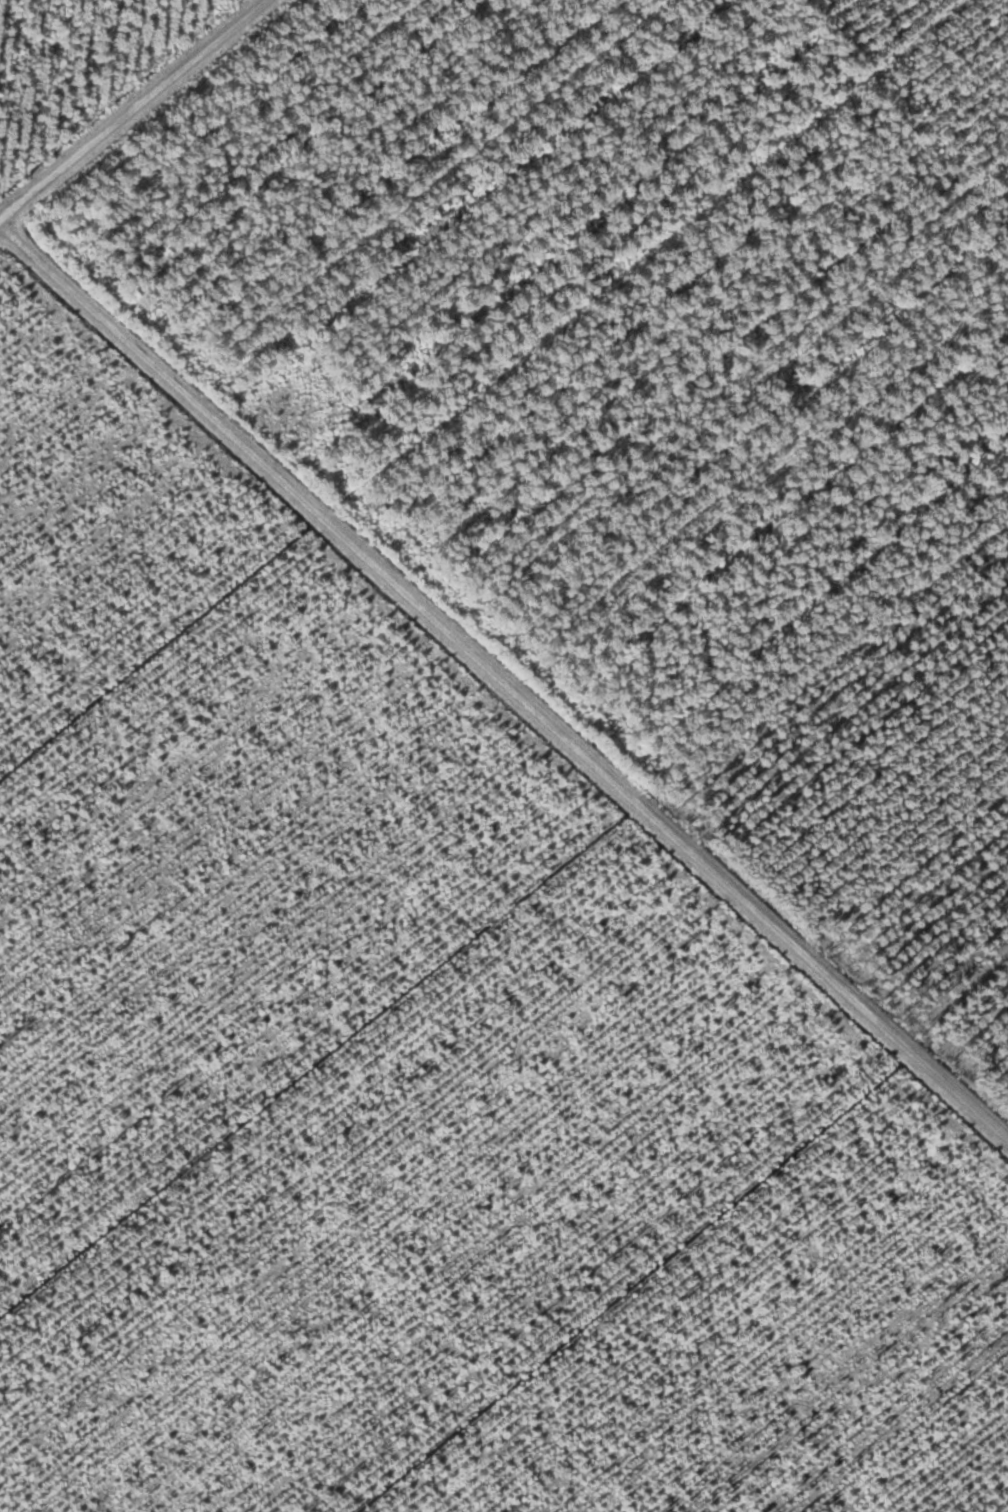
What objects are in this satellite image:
road: (131, 107)
road: (502, 682)

